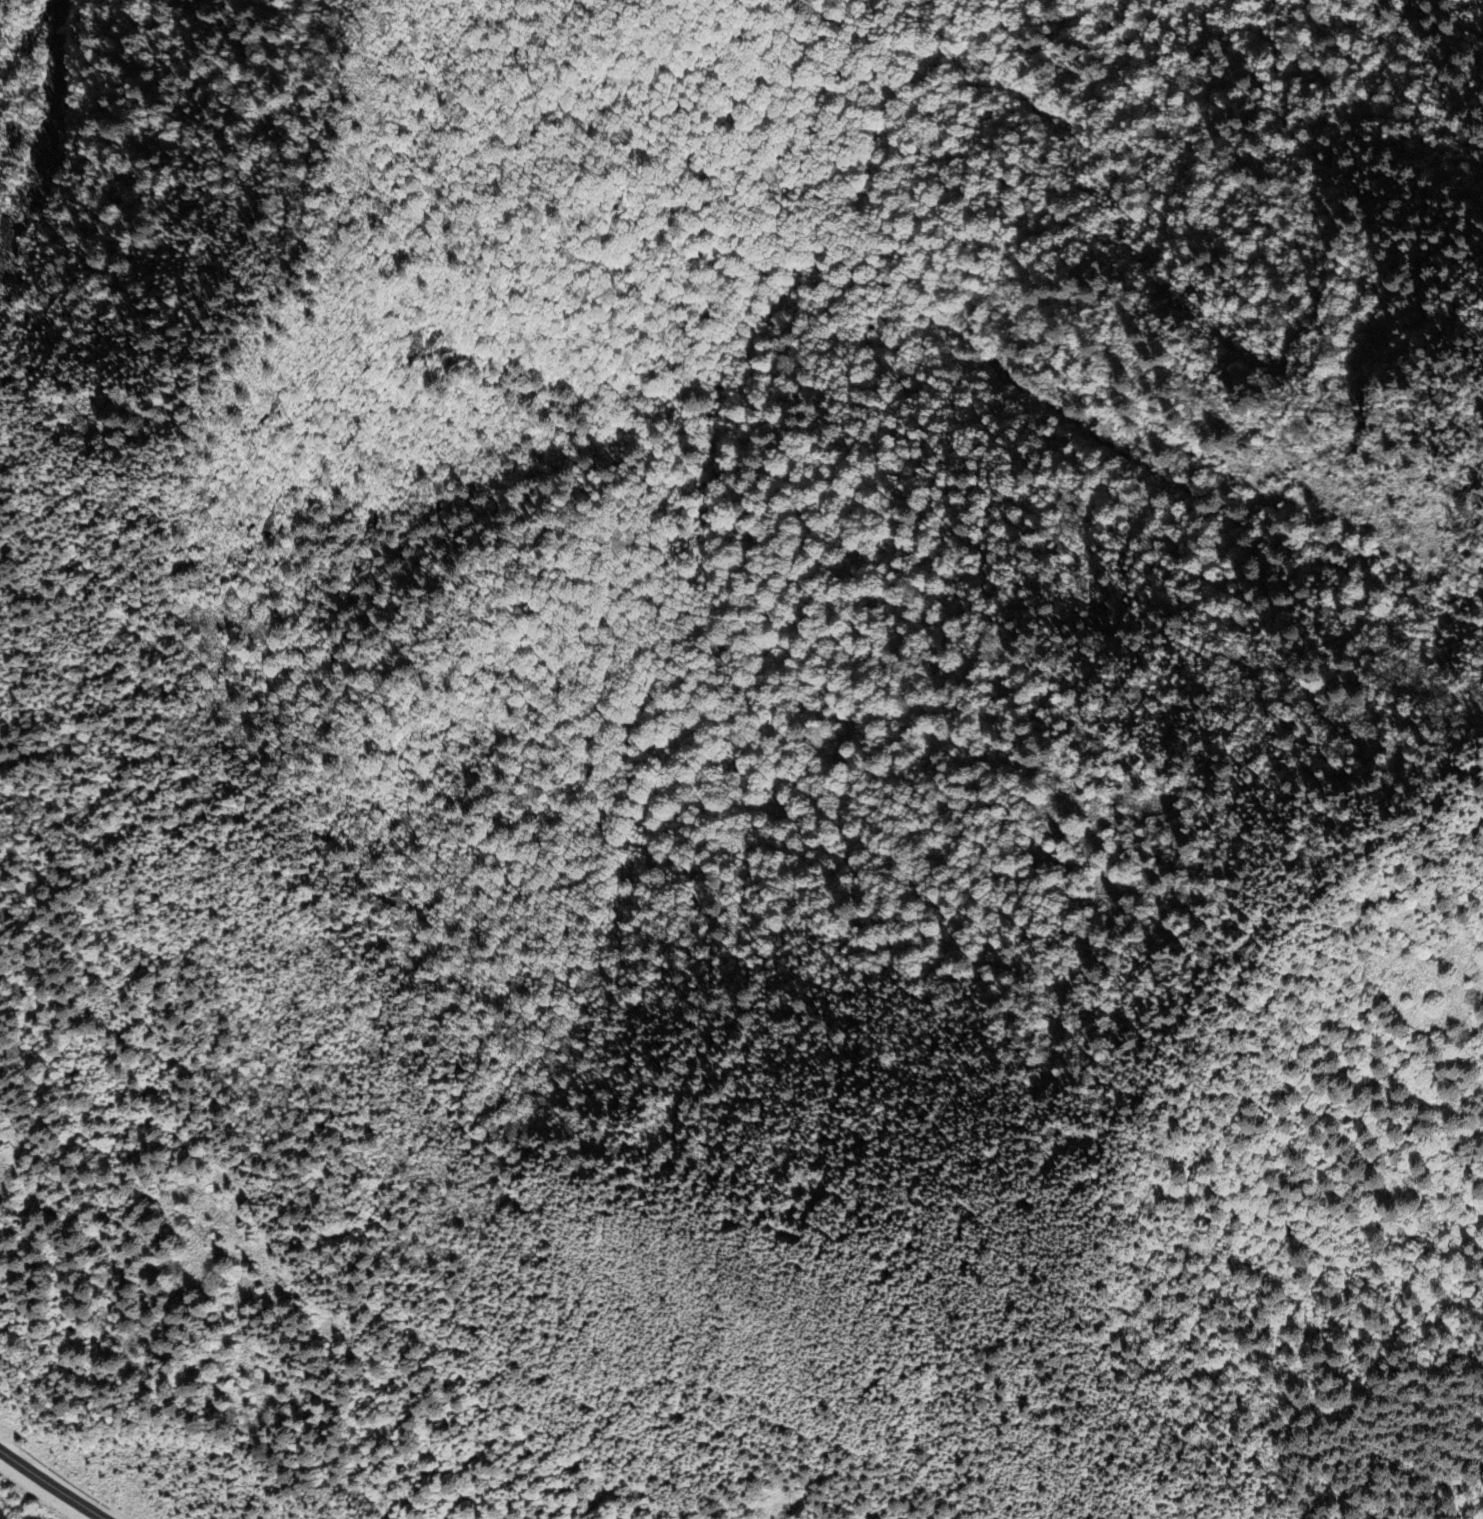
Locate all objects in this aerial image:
road: (1018, 1318)
road: (51, 1485)

